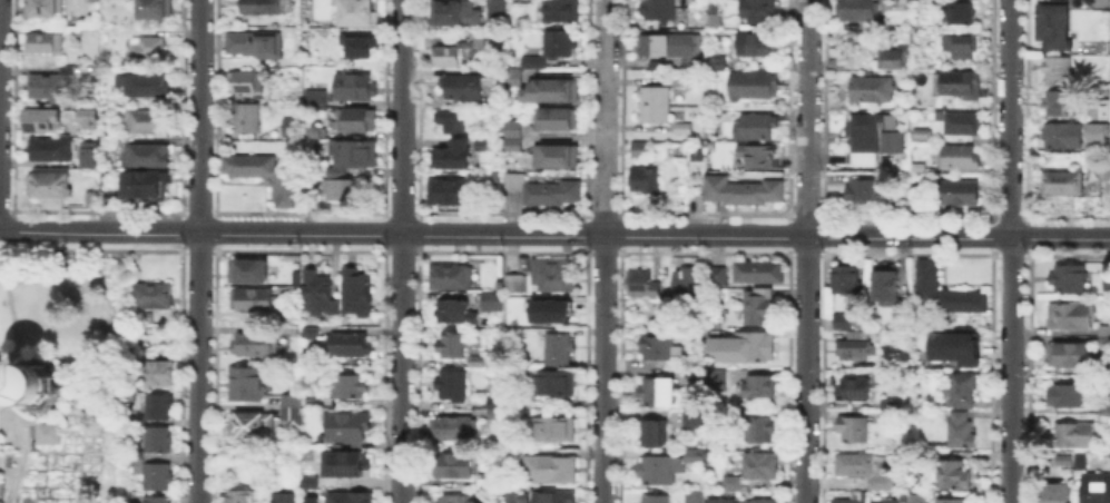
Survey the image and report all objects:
building: (95, 1)
building: (714, 6)
building: (1101, 6)
building: (46, 7)
building: (265, 7)
building: (497, 8)
building: (156, 9)
building: (660, 10)
building: (859, 10)
building: (758, 11)
building: (361, 12)
building: (454, 12)
building: (563, 12)
building: (961, 14)
building: (1057, 26)
building: (71, 30)
building: (43, 43)
building: (666, 43)
building: (254, 45)
building: (755, 45)
building: (361, 46)
building: (959, 48)
building: (553, 49)
building: (145, 51)
building: (448, 58)
building: (107, 60)
building: (891, 60)
building: (835, 62)
building: (717, 65)
building: (1059, 69)
building: (507, 77)
building: (680, 78)
building: (247, 81)
building: (959, 83)
building: (754, 85)
building: (144, 87)
building: (355, 87)
building: (463, 88)
building: (47, 89)
building: (556, 90)
building: (871, 91)
building: (312, 97)
building: (651, 102)
building: (1060, 102)
building: (1098, 114)
building: (84, 117)
building: (553, 117)
building: (247, 118)
road: (603, 118)
building: (39, 119)
road: (806, 119)
building: (360, 121)
building: (148, 122)
building: (449, 122)
building: (679, 124)
building: (963, 126)
building: (510, 127)
building: (755, 127)
building: (292, 128)
building: (1101, 128)
building: (315, 135)
building: (1064, 136)
building: (871, 140)
building: (510, 142)
building: (47, 147)
building: (640, 150)
building: (86, 152)
building: (694, 152)
building: (146, 155)
building: (353, 155)
building: (959, 156)
building: (452, 157)
building: (557, 157)
building: (758, 158)
building: (1106, 172)
building: (264, 176)
building: (903, 177)
building: (497, 178)
building: (648, 181)
building: (1063, 185)
building: (50, 186)
building: (145, 186)
building: (110, 187)
building: (739, 188)
building: (863, 188)
building: (342, 189)
building: (542, 189)
building: (448, 193)
building: (959, 193)
building: (92, 199)
road: (301, 235)
road: (705, 237)
road: (957, 238)
road: (400, 250)
road: (1010, 250)
road: (198, 251)
building: (755, 269)
building: (247, 272)
building: (716, 274)
building: (557, 276)
building: (453, 278)
building: (517, 278)
building: (846, 278)
building: (1069, 278)
building: (688, 284)
building: (886, 284)
building: (642, 285)
building: (1107, 289)
building: (317, 292)
building: (357, 292)
building: (946, 292)
building: (156, 295)
building: (252, 302)
building: (492, 302)
building: (760, 306)
building: (548, 308)
building: (455, 313)
building: (1070, 317)
building: (844, 322)
building: (1104, 331)
building: (310, 333)
building: (952, 344)
building: (1104, 344)
building: (257, 345)
building: (350, 346)
building: (452, 346)
building: (856, 346)
building: (755, 347)
building: (658, 349)
building: (557, 351)
building: (1069, 356)
building: (478, 362)
road: (603, 369)
road: (805, 371)
building: (155, 374)
park: (66, 377)
building: (717, 378)
building: (694, 381)
building: (36, 383)
building: (556, 383)
building: (247, 385)
building: (453, 385)
building: (760, 386)
building: (350, 387)
water tower: (33, 391)
building: (855, 391)
building: (964, 391)
building: (659, 394)
building: (1071, 396)
building: (291, 402)
building: (497, 403)
building: (310, 404)
building: (1106, 406)
building: (160, 408)
building: (292, 408)
building: (887, 408)
building: (495, 413)
building: (695, 416)
building: (1104, 418)
building: (252, 427)
building: (854, 427)
building: (347, 428)
building: (453, 428)
building: (553, 430)
building: (759, 431)
building: (961, 431)
building: (50, 434)
building: (1074, 435)
building: (656, 436)
building: (158, 441)
building: (33, 444)
building: (694, 454)
building: (1063, 461)
building: (1081, 461)
building: (350, 465)
building: (453, 466)
building: (763, 467)
building: (656, 469)
building: (551, 470)
building: (865, 470)
building: (954, 475)
building: (157, 477)
building: (304, 479)
building: (488, 483)
building: (733, 484)
building: (1096, 489)
building: (1057, 493)
building: (291, 496)
building: (513, 496)
building: (242, 497)
building: (350, 499)
building: (556, 499)
building: (705, 499)
building: (855, 499)
building: (458, 500)
building: (489, 500)
building: (917, 500)
building: (157, 501)
building: (655, 501)
building: (952, 501)
building: (763, 502)
building: (885, 502)

